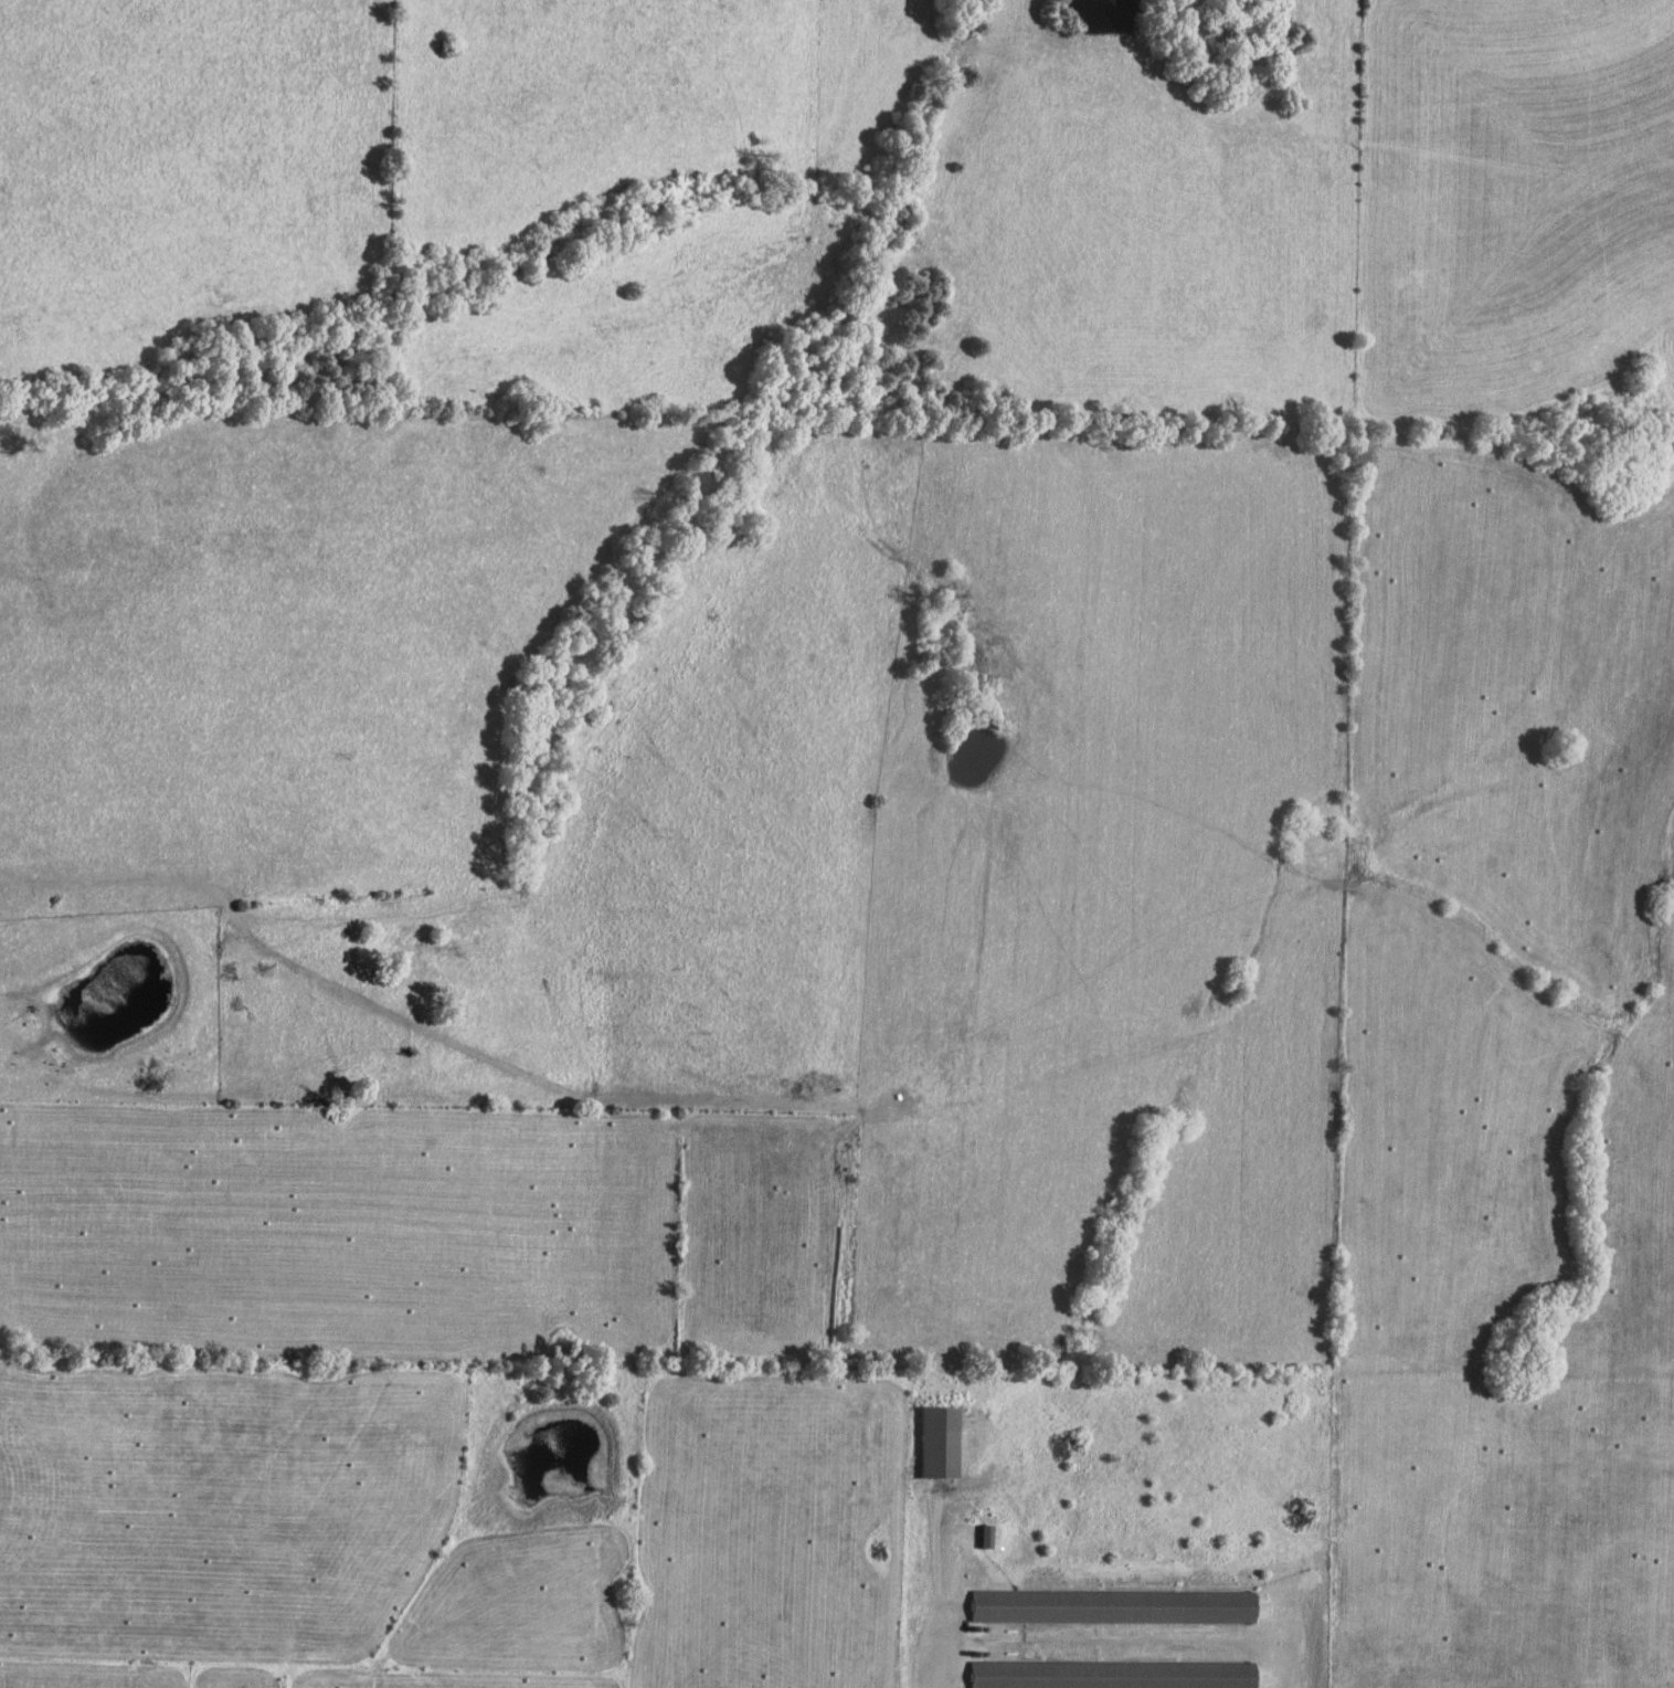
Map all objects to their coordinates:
building: (944, 1442)
building: (988, 1536)
building: (1115, 1605)
road: (940, 1643)
building: (1116, 1674)

